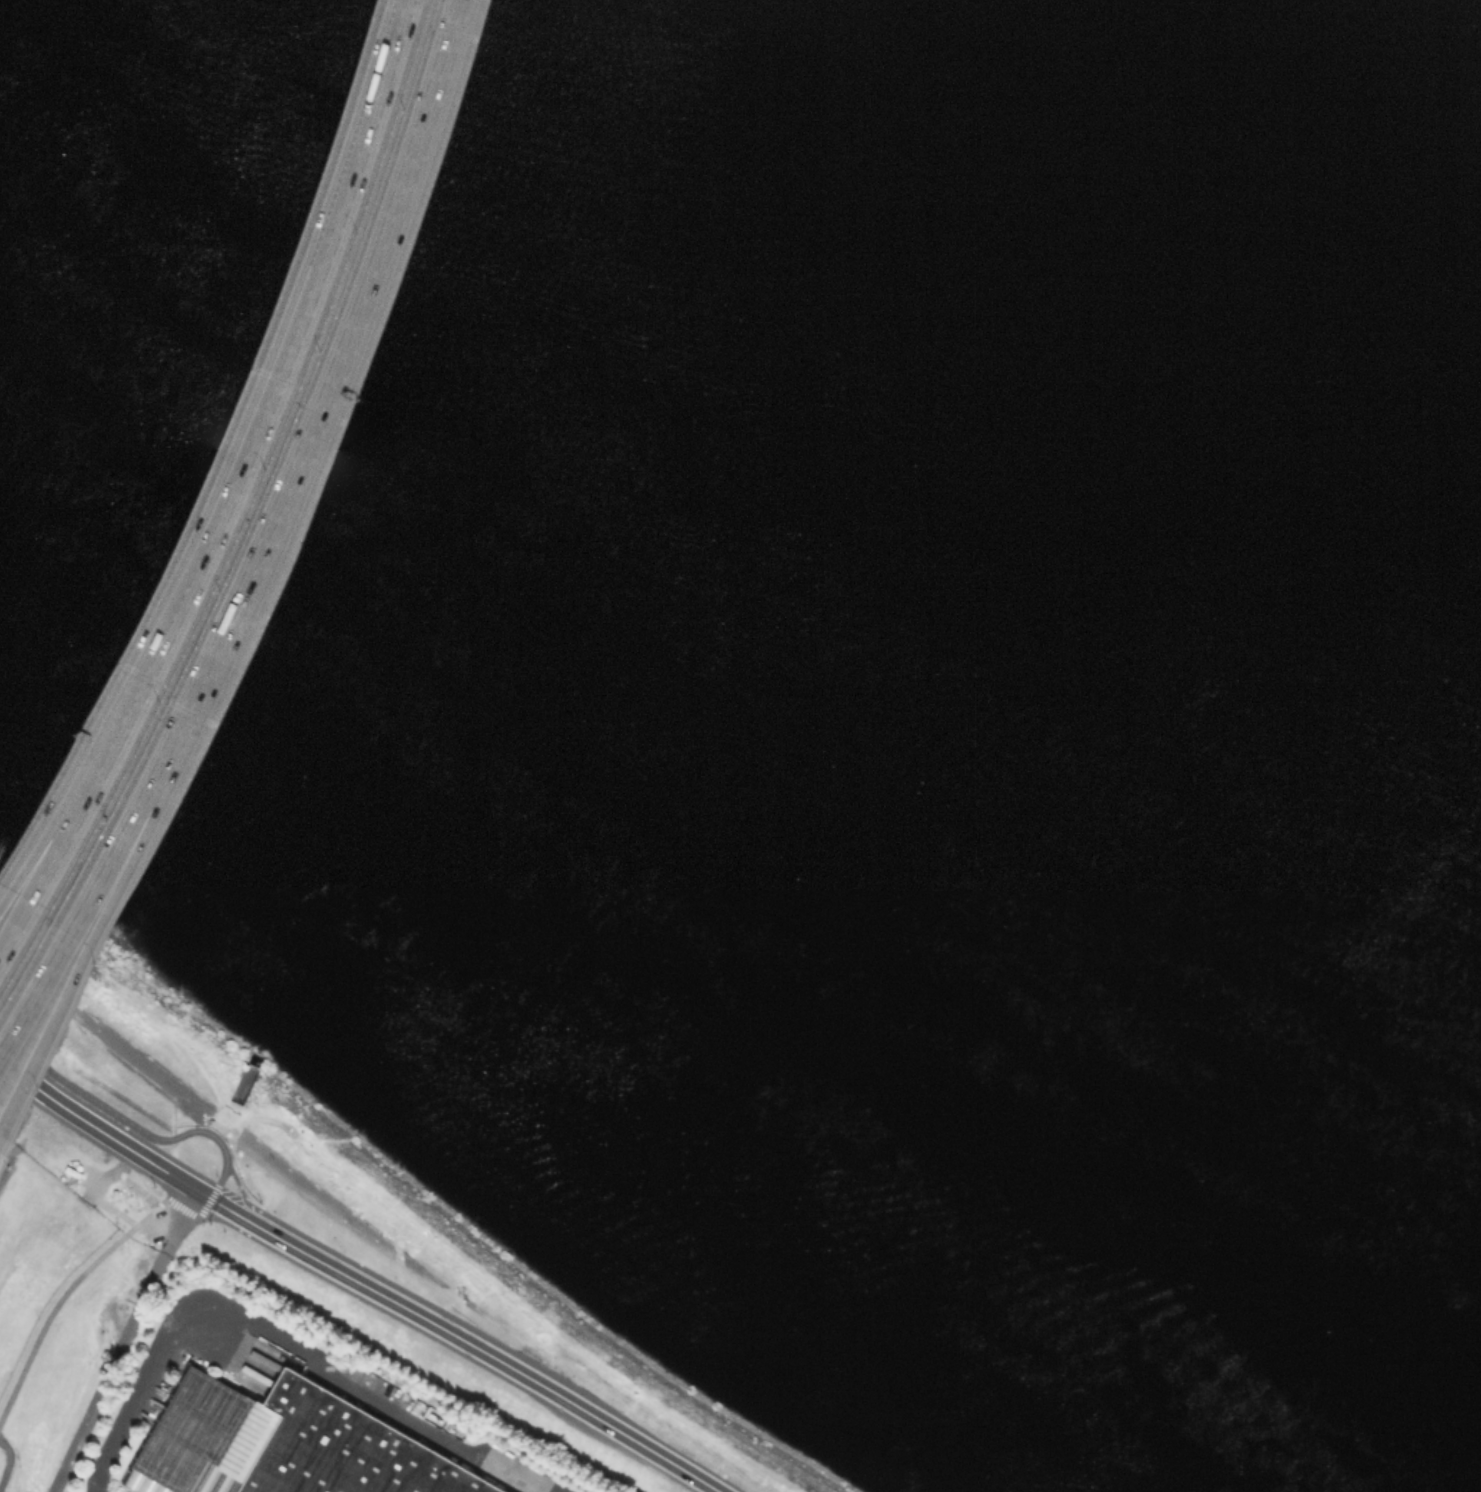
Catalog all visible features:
road: (370, 135)
road: (311, 407)
road: (247, 512)
road: (219, 532)
road: (44, 837)
road: (47, 874)
road: (69, 920)
road: (67, 958)
road: (151, 1070)
road: (116, 1114)
road: (205, 1124)
road: (96, 1128)
road: (235, 1149)
road: (220, 1183)
road: (240, 1190)
road: (203, 1194)
road: (331, 1205)
road: (228, 1209)
road: (190, 1214)
road: (62, 1294)
road: (279, 1339)
road: (123, 1340)
road: (485, 1351)
building: (286, 1444)
road: (7, 1462)

